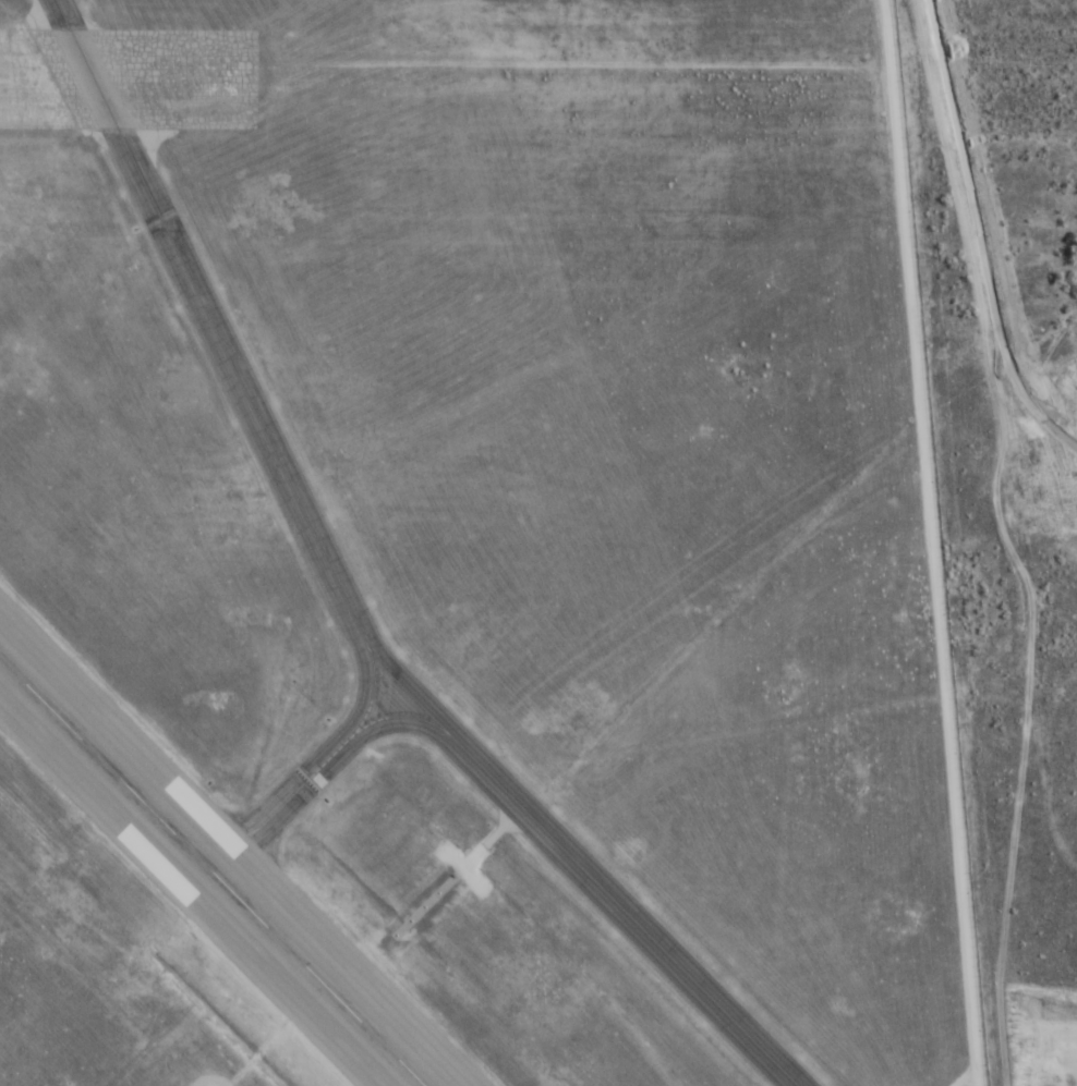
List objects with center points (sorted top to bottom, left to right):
road: (929, 542)
airport: (469, 551)
airport taxiway: (346, 599)
airport taxiway: (308, 782)
airport runway: (211, 873)

